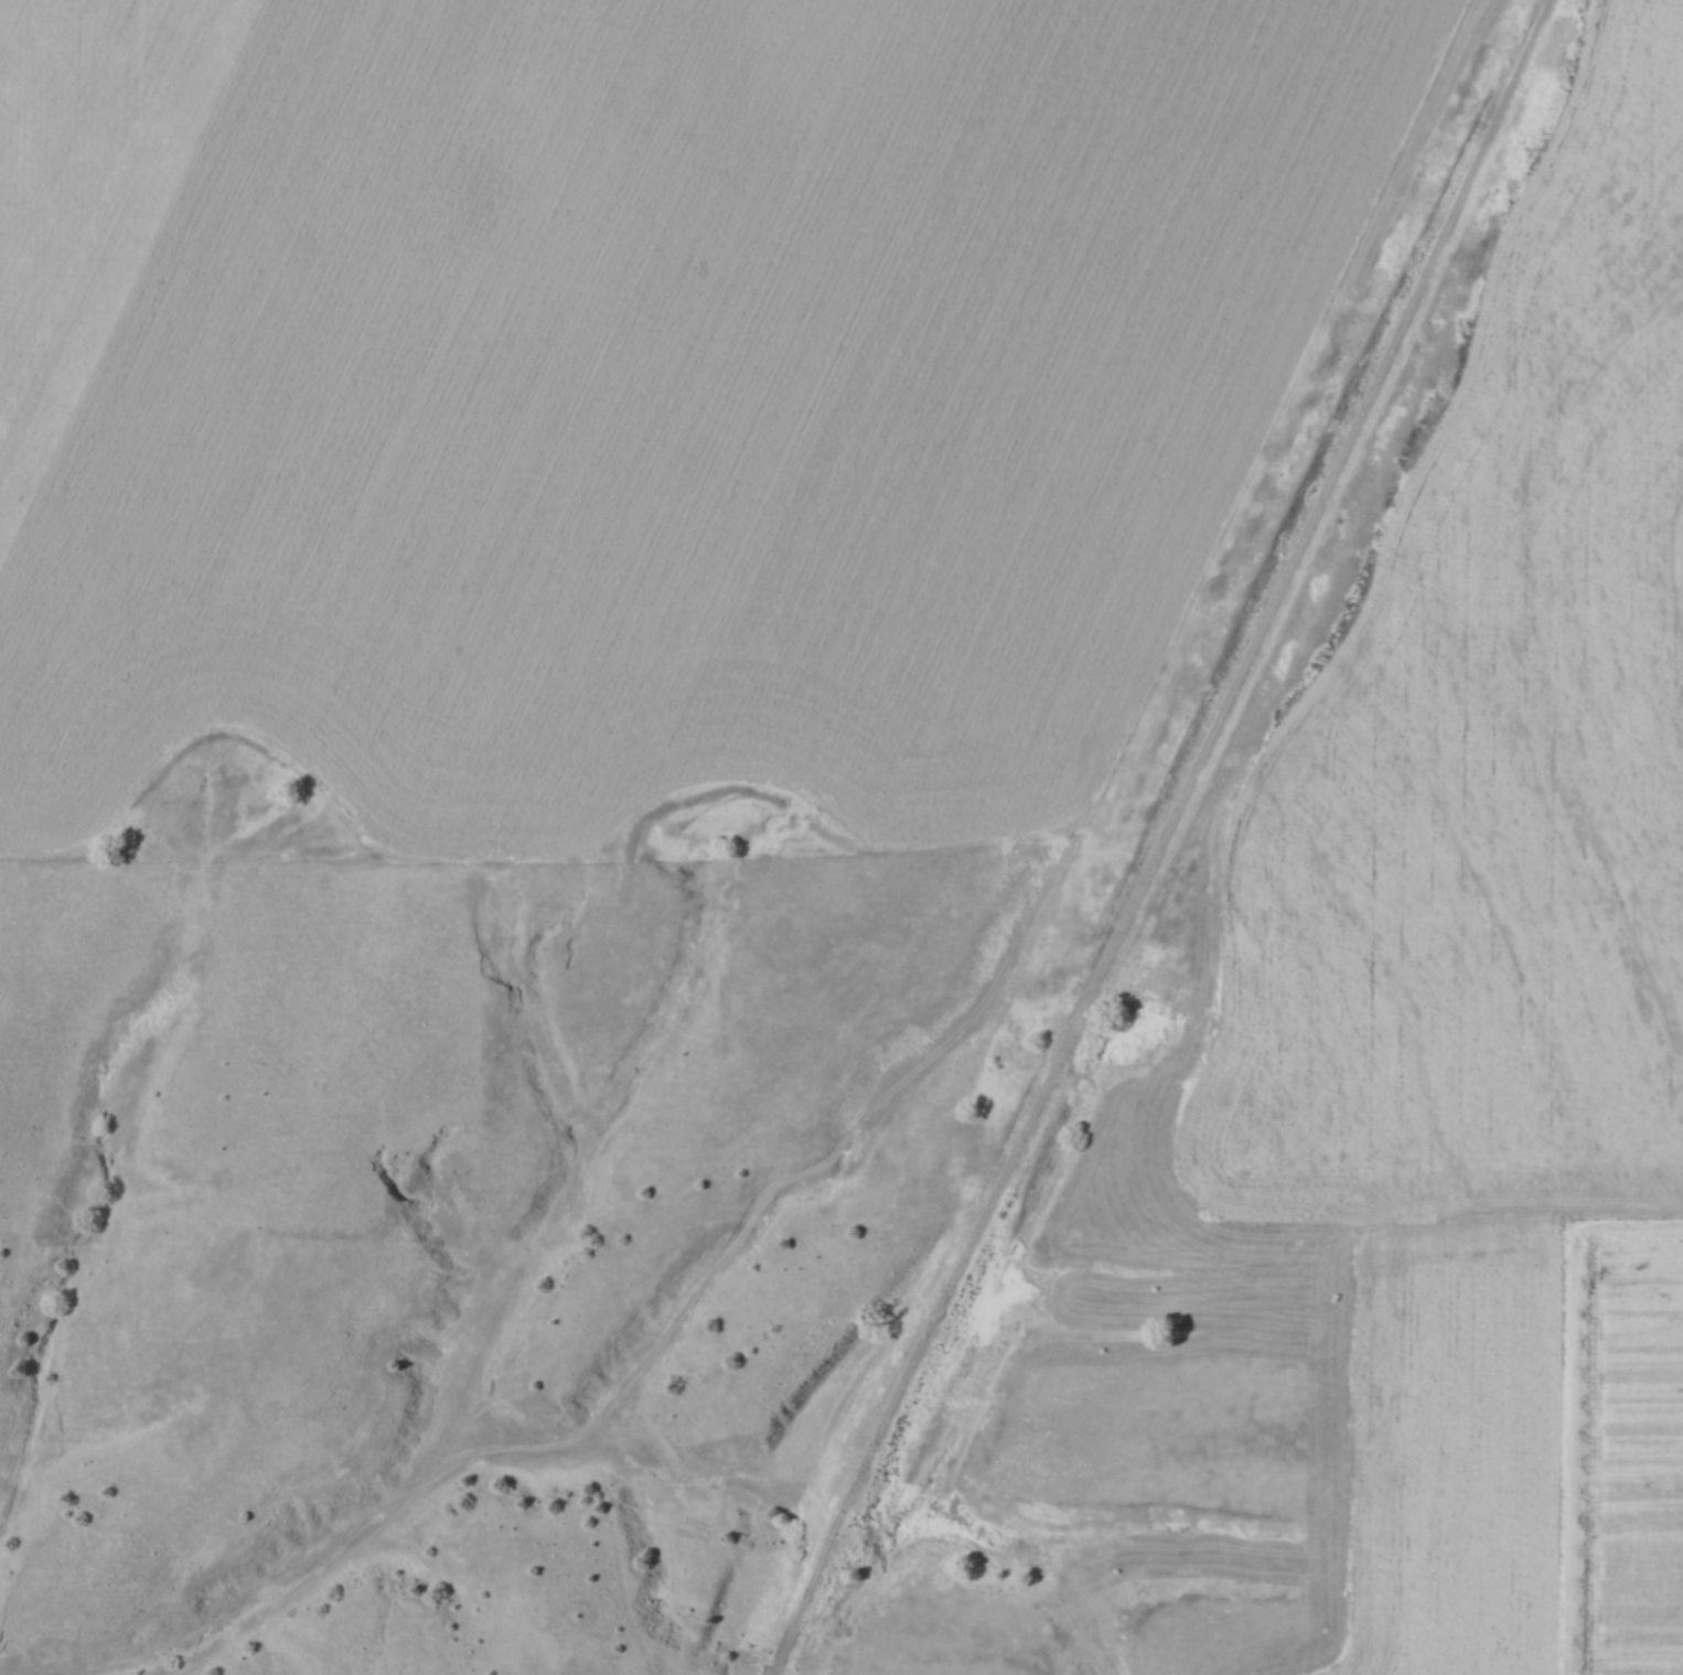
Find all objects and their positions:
crop: (643, 387)
railway: (1189, 837)

